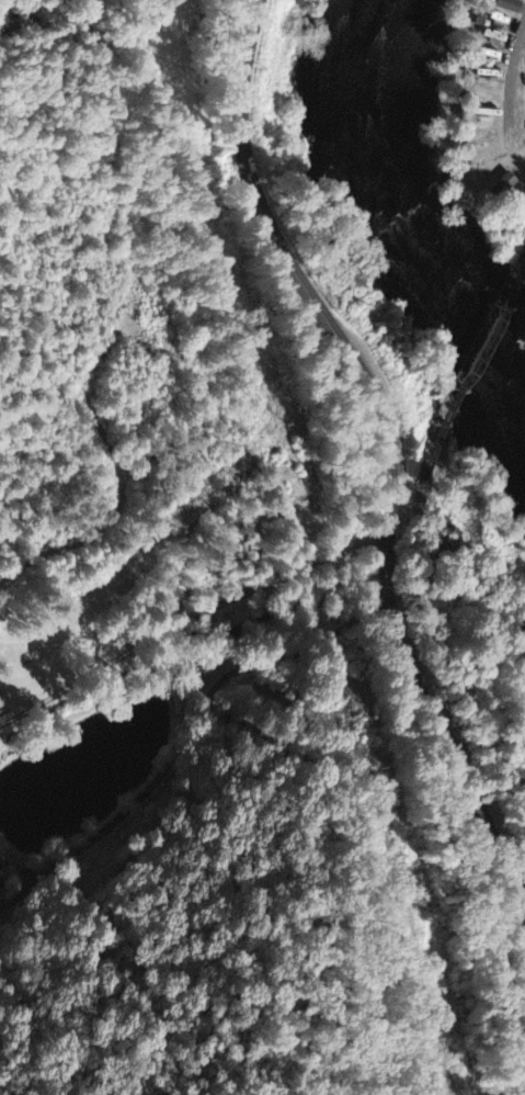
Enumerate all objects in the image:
building: (514, 5)
river: (427, 194)
road: (289, 263)
railway: (487, 327)
railway: (429, 617)
building: (0, 702)
road: (431, 710)
building: (0, 868)

